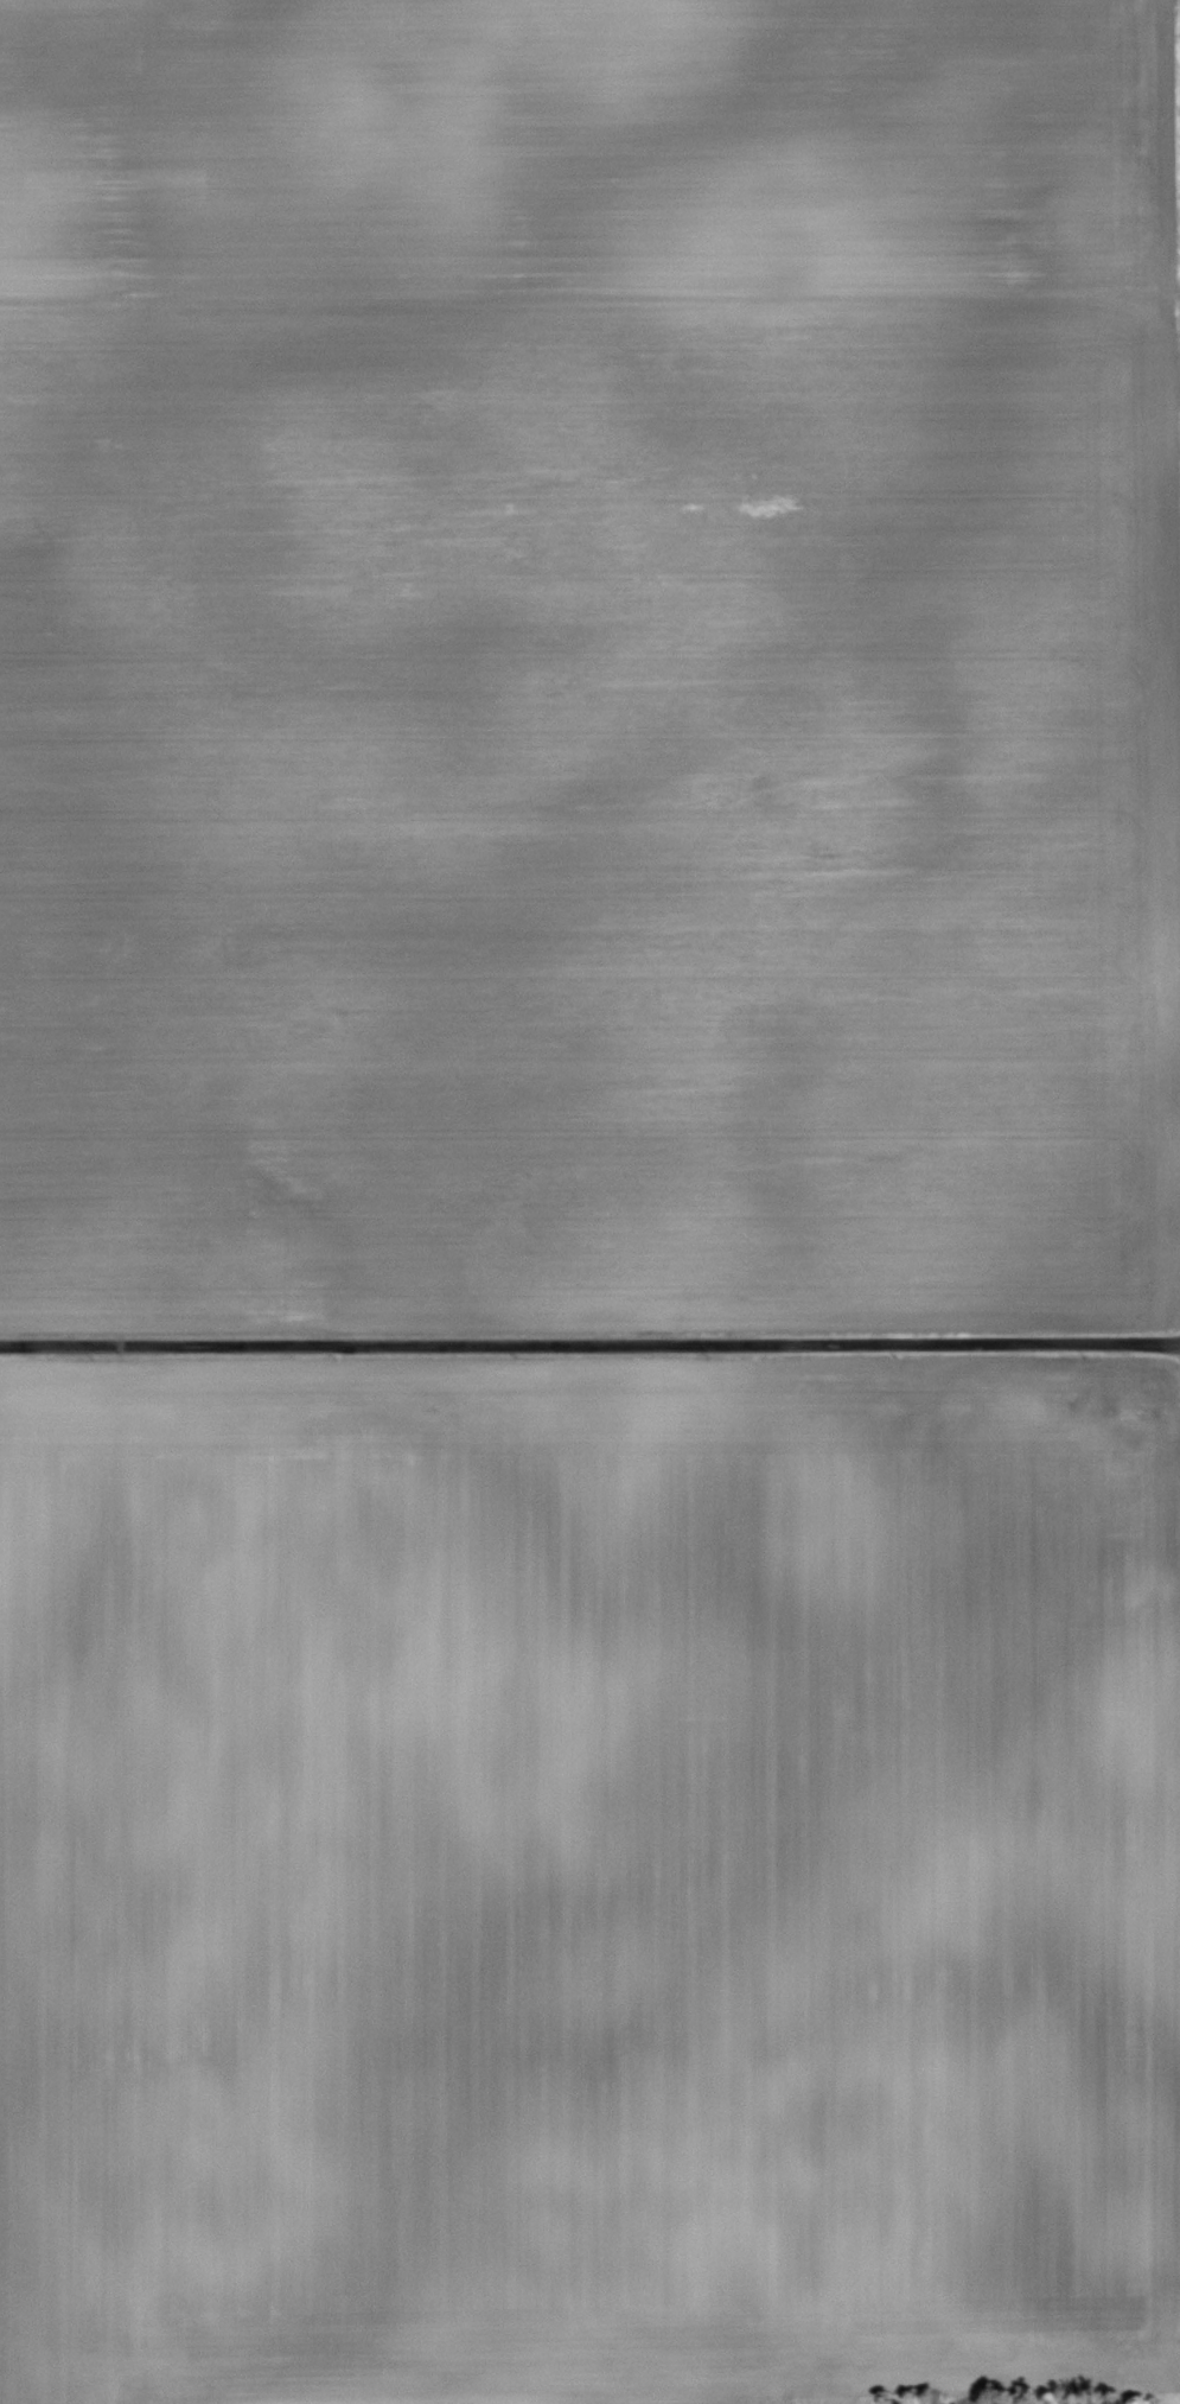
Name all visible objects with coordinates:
road: (589, 1347)

